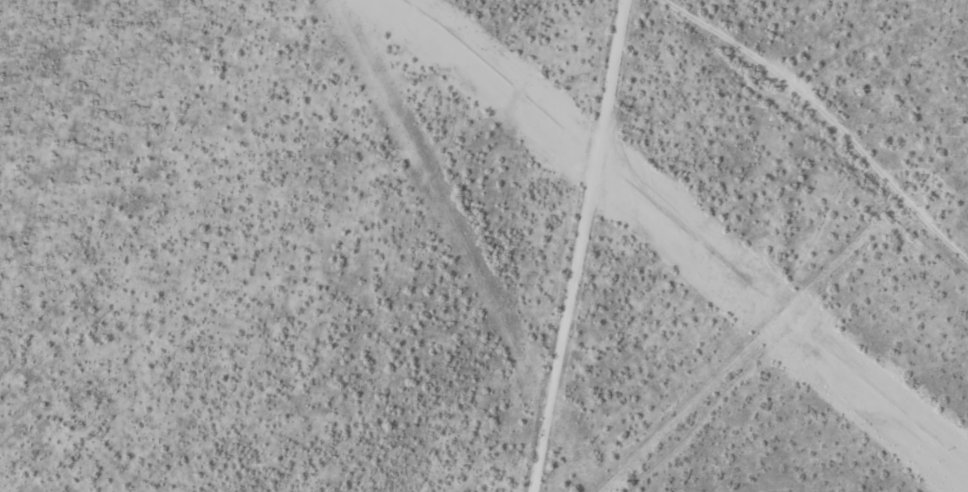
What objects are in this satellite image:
road: (580, 246)

